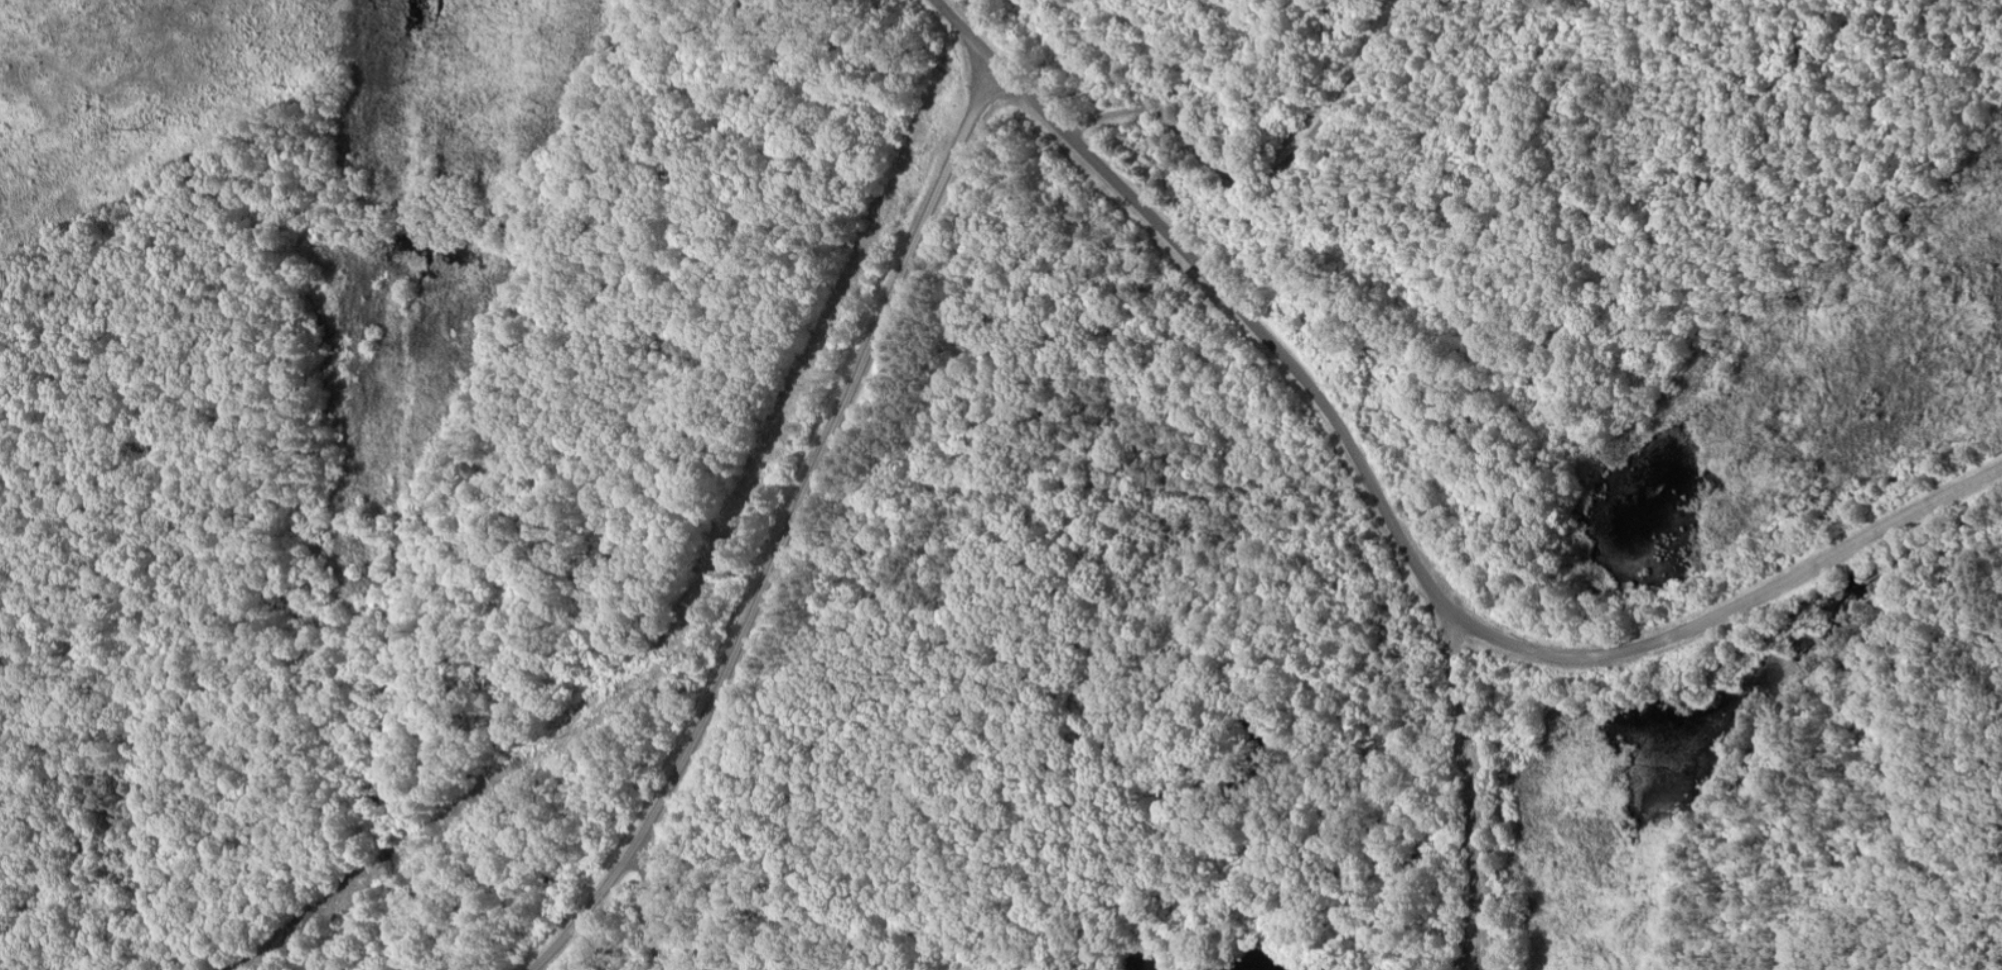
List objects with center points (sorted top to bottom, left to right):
road: (1311, 150)
road: (1396, 526)
road: (788, 530)

